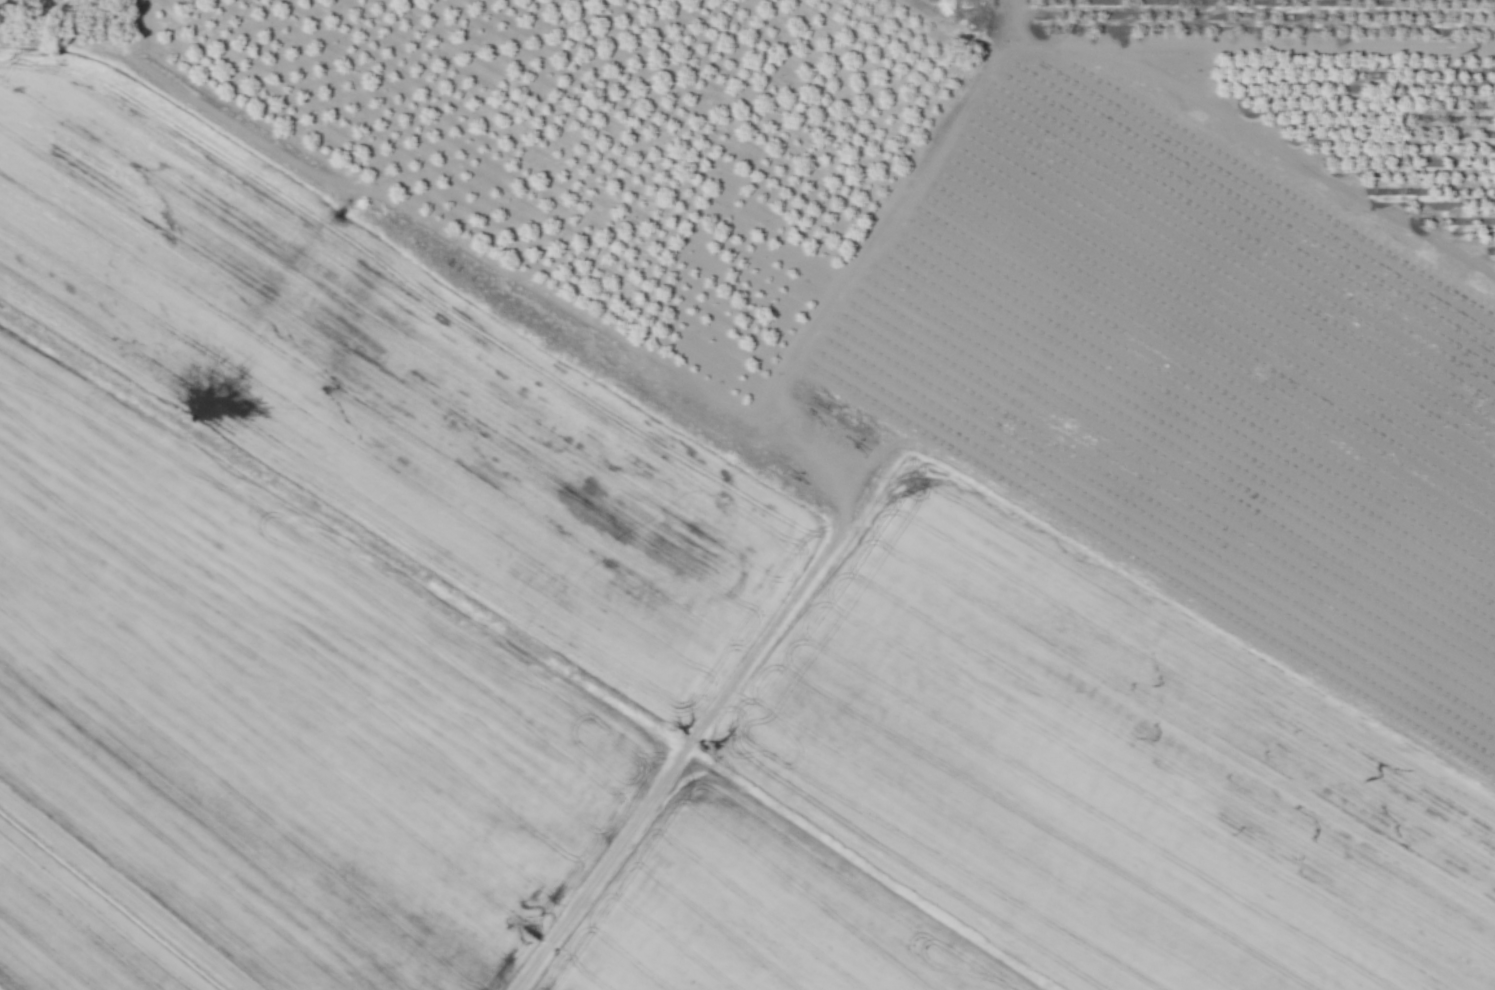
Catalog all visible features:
road: (1242, 45)

